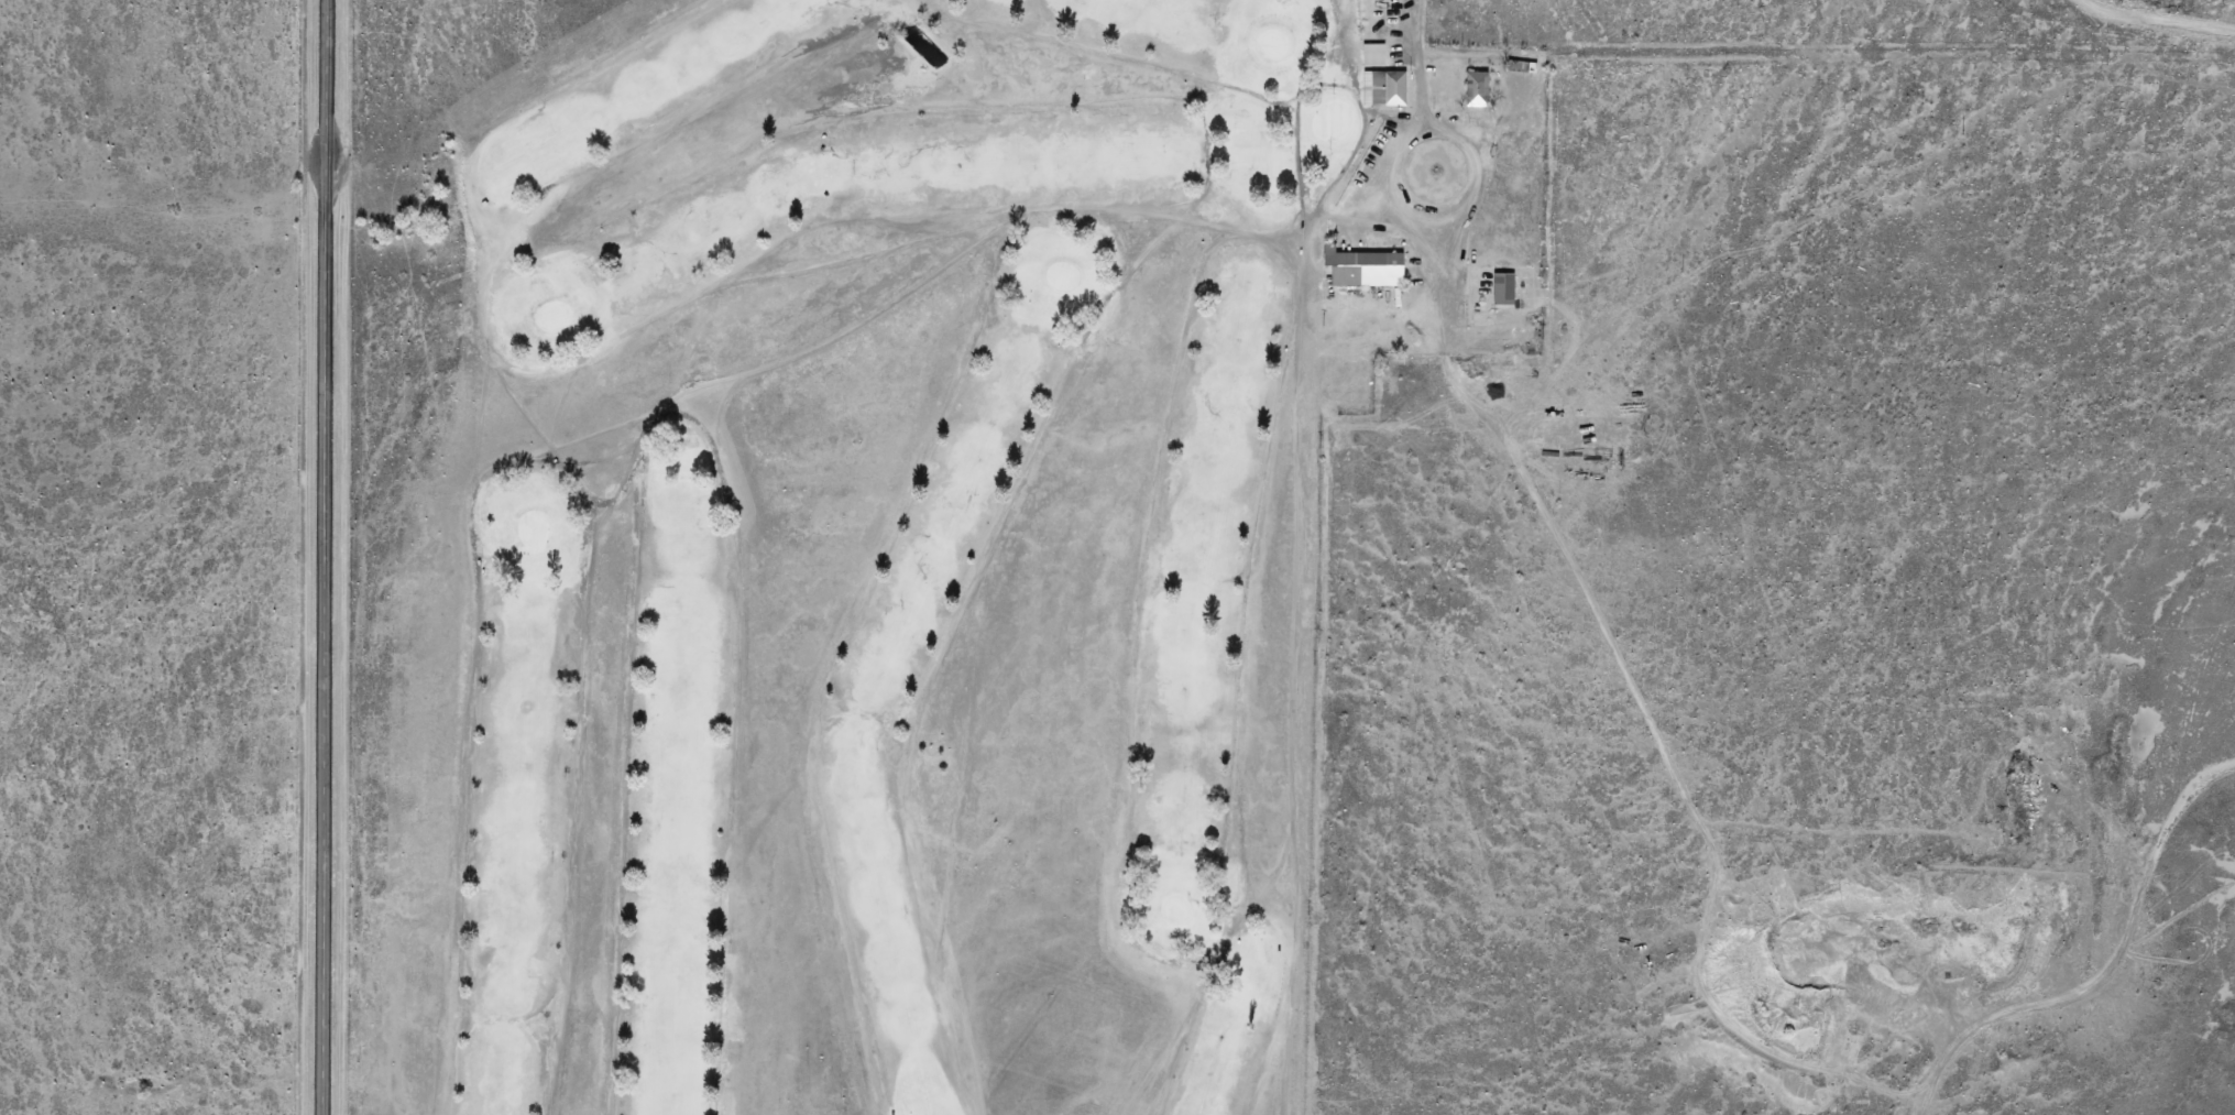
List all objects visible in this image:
road: (1411, 21)
building: (1383, 88)
building: (1476, 88)
building: (1363, 267)
building: (1503, 288)
park: (869, 534)
road: (322, 557)

